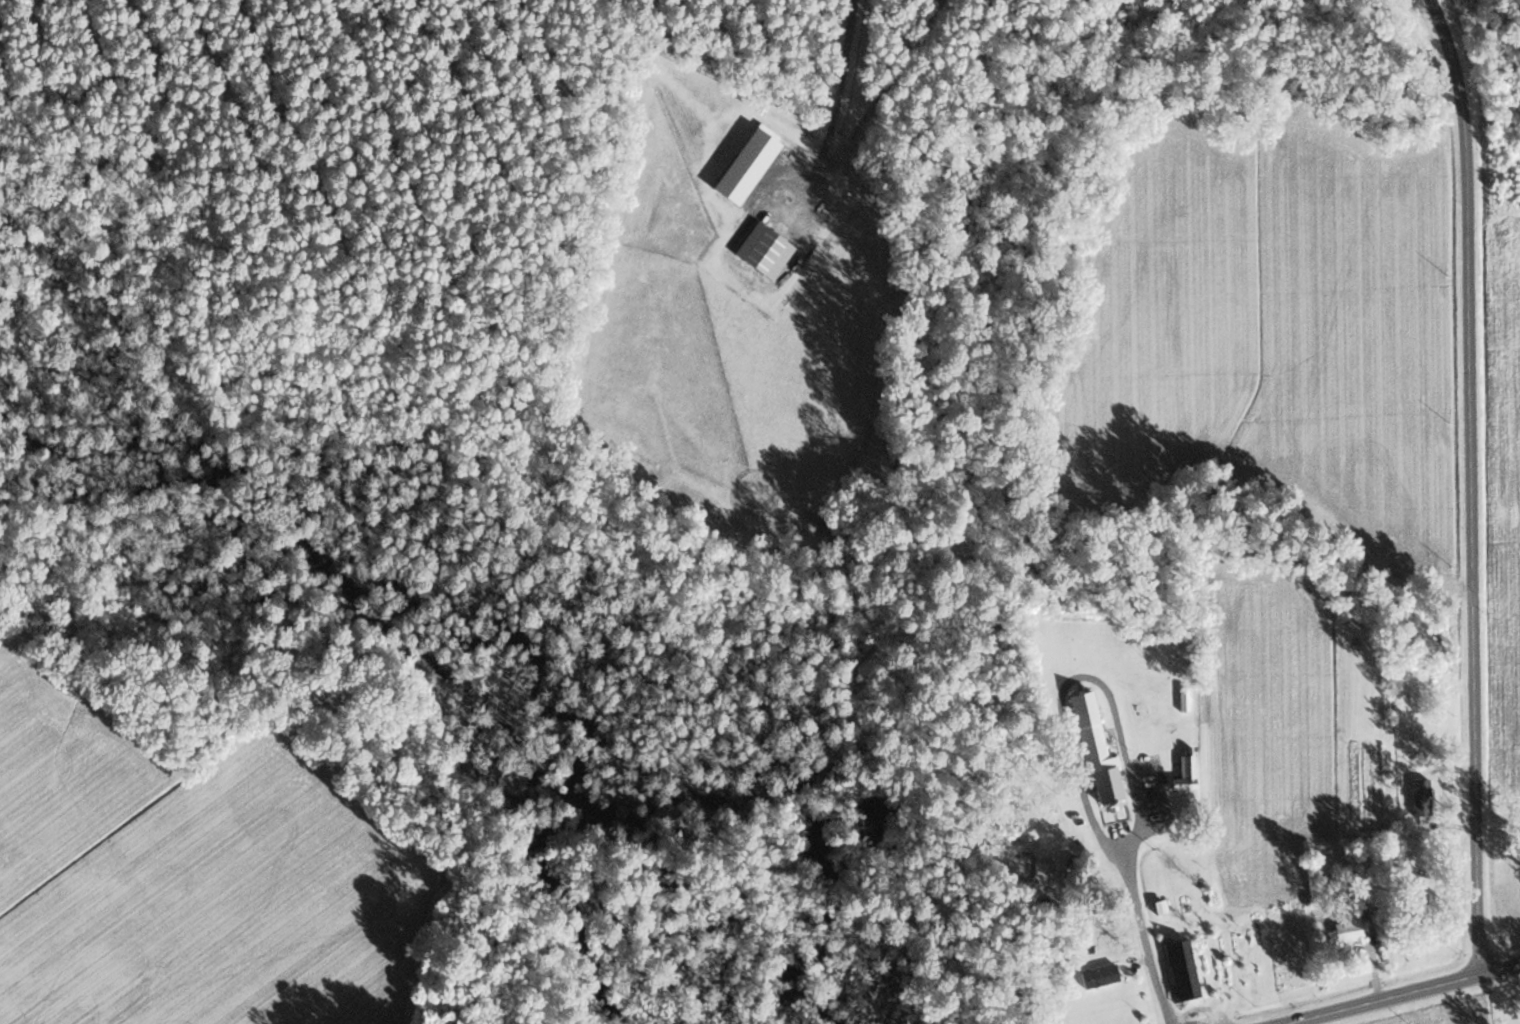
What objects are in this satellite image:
building: (762, 250)
road: (1467, 391)
building: (1093, 746)
building: (1184, 774)
building: (1419, 796)
road: (1473, 881)
building: (1348, 924)
building: (1180, 971)
building: (1098, 976)
road: (1402, 993)

